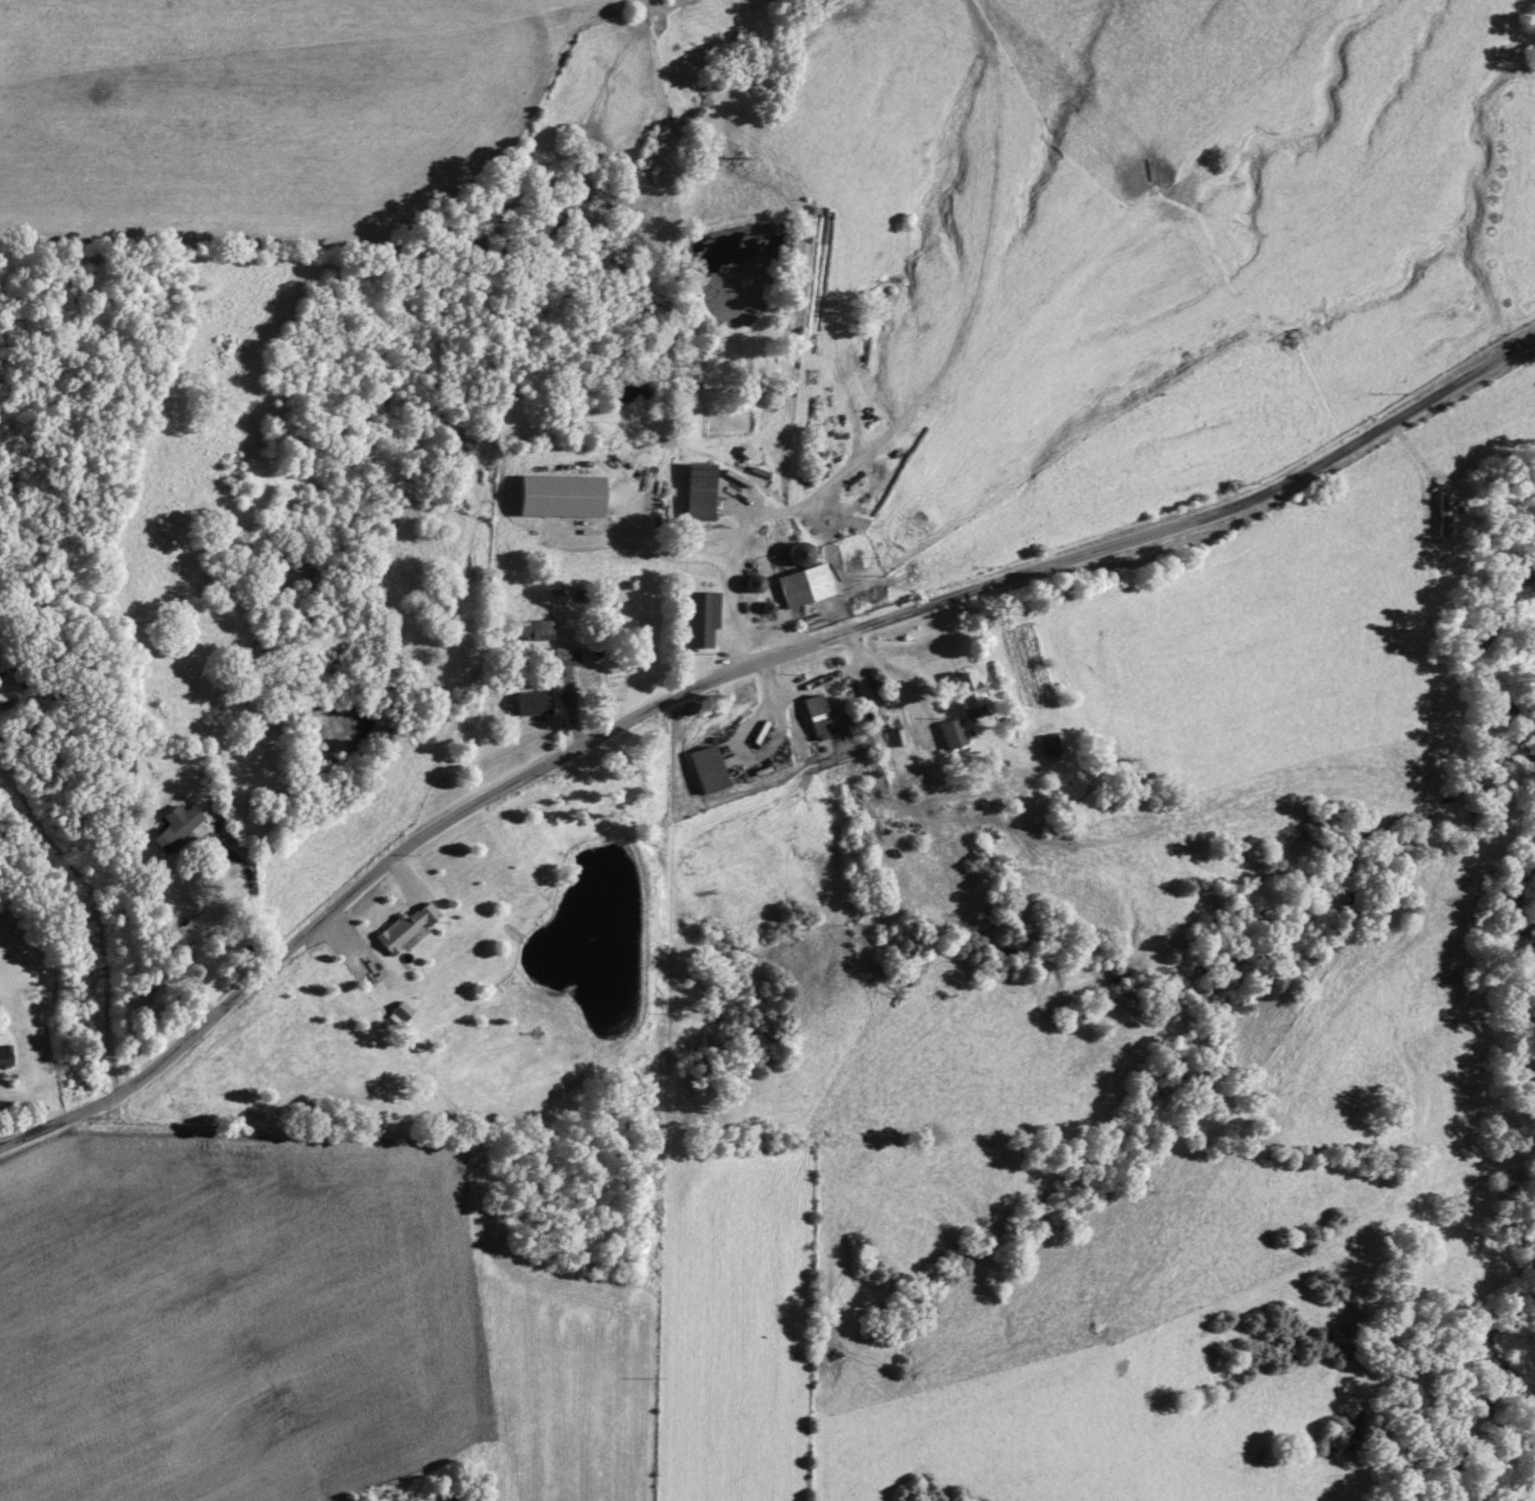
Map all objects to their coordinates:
building: (746, 450)
building: (698, 489)
building: (560, 493)
building: (1444, 511)
building: (799, 551)
road: (735, 578)
building: (804, 583)
building: (699, 616)
building: (532, 627)
building: (565, 655)
road: (726, 666)
road: (806, 679)
building: (8, 684)
building: (966, 692)
building: (532, 700)
building: (816, 715)
building: (950, 731)
building: (1047, 742)
building: (706, 767)
building: (175, 824)
building: (405, 925)
building: (189, 929)
building: (399, 1012)
building: (5, 1053)

